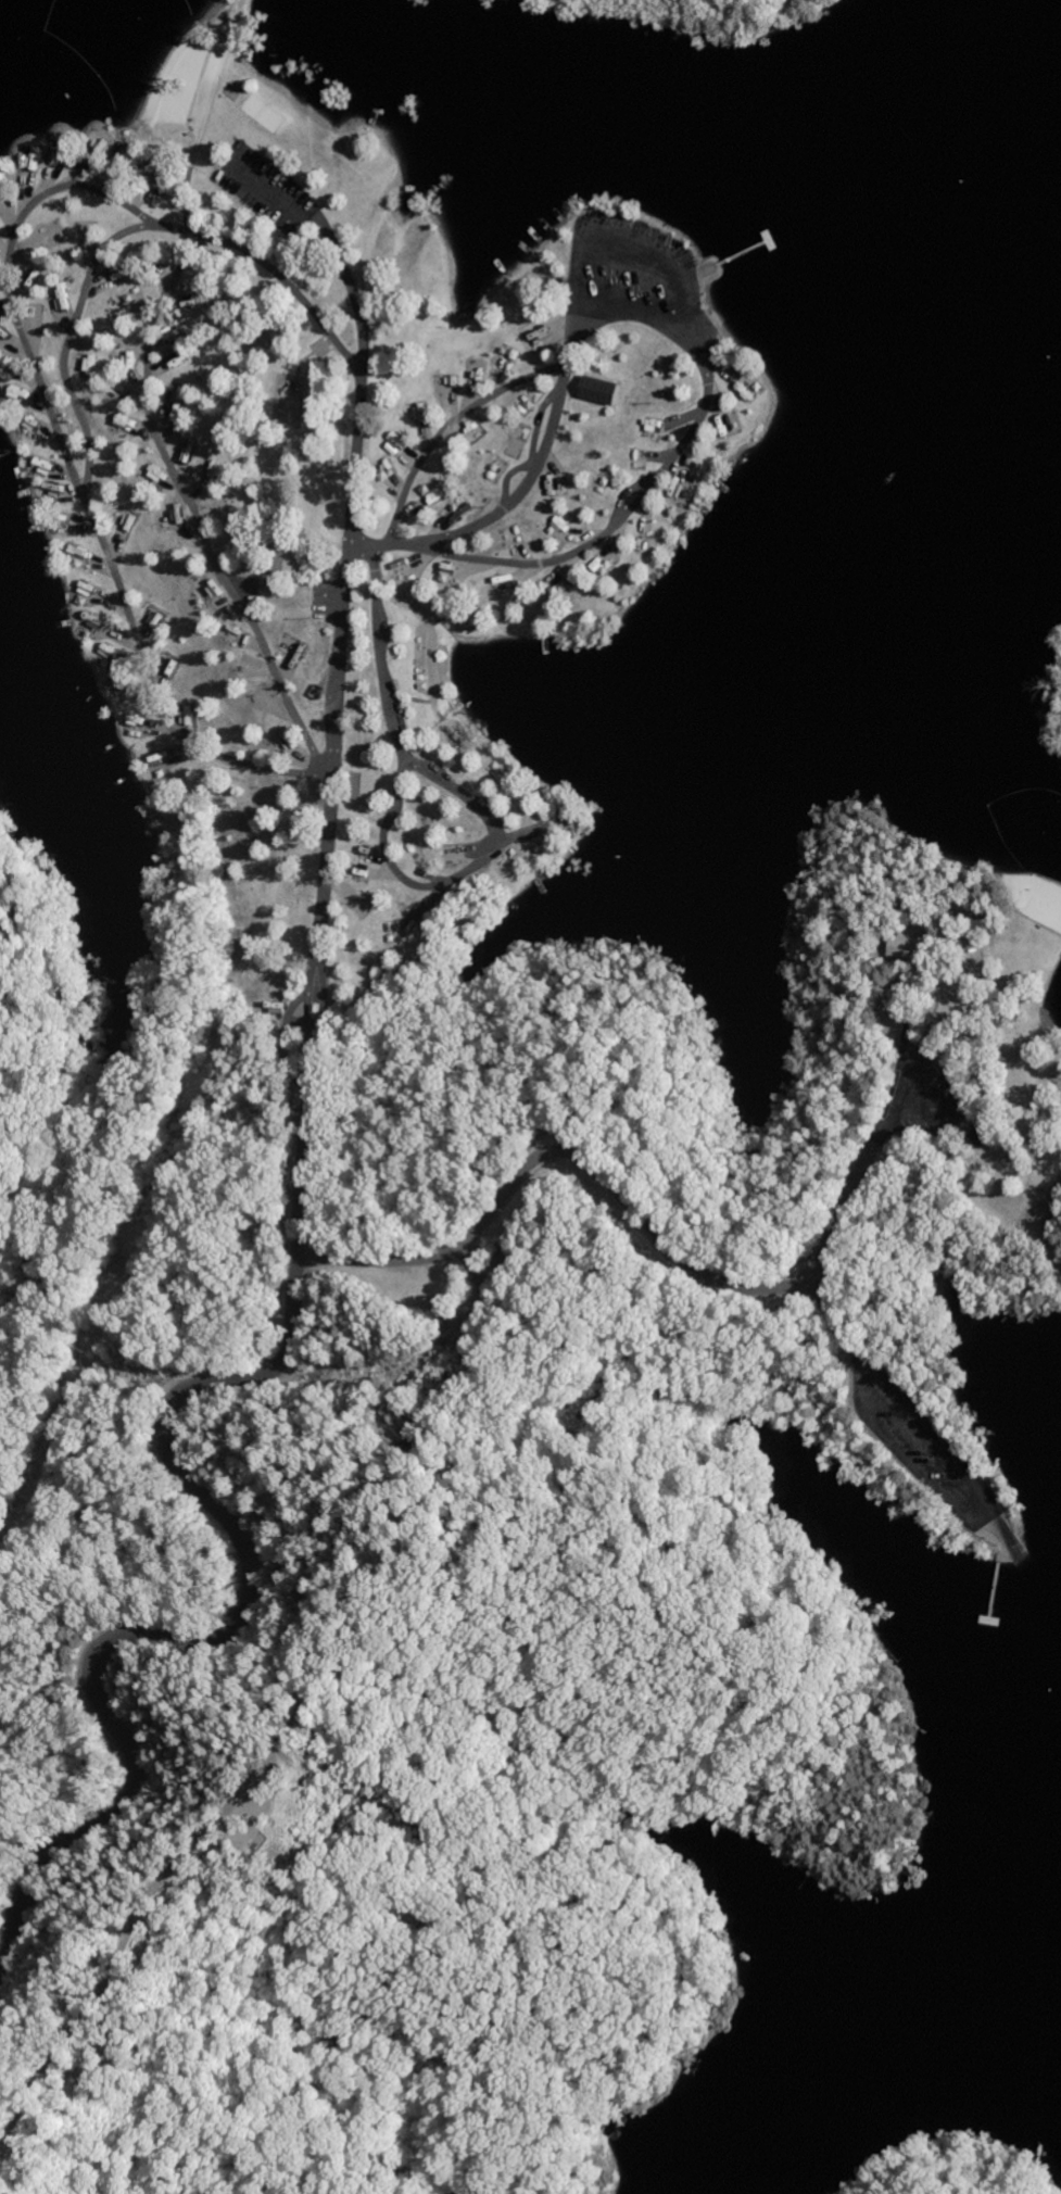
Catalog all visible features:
road: (317, 1000)
road: (647, 1223)
road: (900, 1399)
road: (229, 1616)

